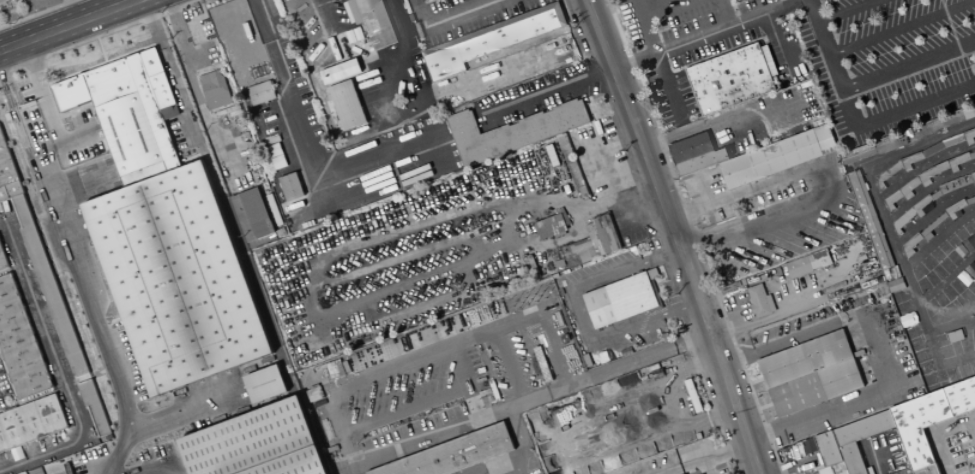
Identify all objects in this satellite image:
road: (102, 6)
road: (665, 8)
road: (847, 11)
road: (725, 13)
road: (39, 14)
road: (418, 14)
road: (460, 14)
building: (371, 21)
road: (70, 25)
road: (902, 28)
road: (706, 35)
road: (97, 36)
road: (778, 46)
road: (661, 64)
building: (339, 71)
building: (731, 77)
road: (864, 81)
road: (419, 85)
building: (214, 89)
building: (260, 92)
road: (550, 93)
road: (290, 94)
building: (346, 104)
building: (968, 109)
road: (897, 111)
road: (722, 115)
building: (511, 131)
building: (969, 135)
building: (739, 138)
building: (952, 140)
building: (932, 149)
building: (696, 153)
building: (971, 153)
building: (769, 159)
road: (829, 160)
building: (910, 160)
building: (957, 160)
road: (923, 166)
building: (974, 170)
building: (7, 172)
building: (931, 172)
building: (887, 173)
building: (972, 177)
building: (954, 183)
building: (290, 186)
building: (908, 187)
road: (927, 188)
road: (703, 189)
building: (934, 193)
road: (627, 195)
building: (970, 198)
building: (891, 199)
road: (558, 203)
building: (920, 204)
building: (954, 207)
road: (932, 212)
building: (253, 217)
road: (884, 217)
building: (869, 219)
building: (902, 219)
building: (551, 225)
building: (931, 225)
road: (672, 236)
road: (694, 236)
road: (937, 237)
building: (592, 241)
building: (910, 244)
building: (818, 258)
road: (245, 259)
road: (80, 260)
building: (974, 260)
building: (2, 262)
building: (797, 267)
building: (188, 271)
road: (946, 278)
building: (974, 280)
building: (620, 300)
building: (759, 301)
road: (737, 305)
road: (960, 314)
road: (580, 315)
road: (970, 337)
building: (19, 343)
road: (881, 347)
road: (435, 353)
road: (936, 358)
building: (334, 367)
road: (510, 367)
road: (59, 369)
road: (608, 371)
building: (809, 373)
building: (264, 383)
road: (464, 384)
road: (405, 410)
building: (928, 420)
building: (31, 423)
road: (461, 426)
building: (862, 428)
road: (970, 430)
building: (259, 443)
building: (826, 448)
road: (939, 451)
building: (454, 453)
road: (874, 457)
building: (851, 459)
road: (790, 465)
road: (496, 467)
building: (841, 472)

